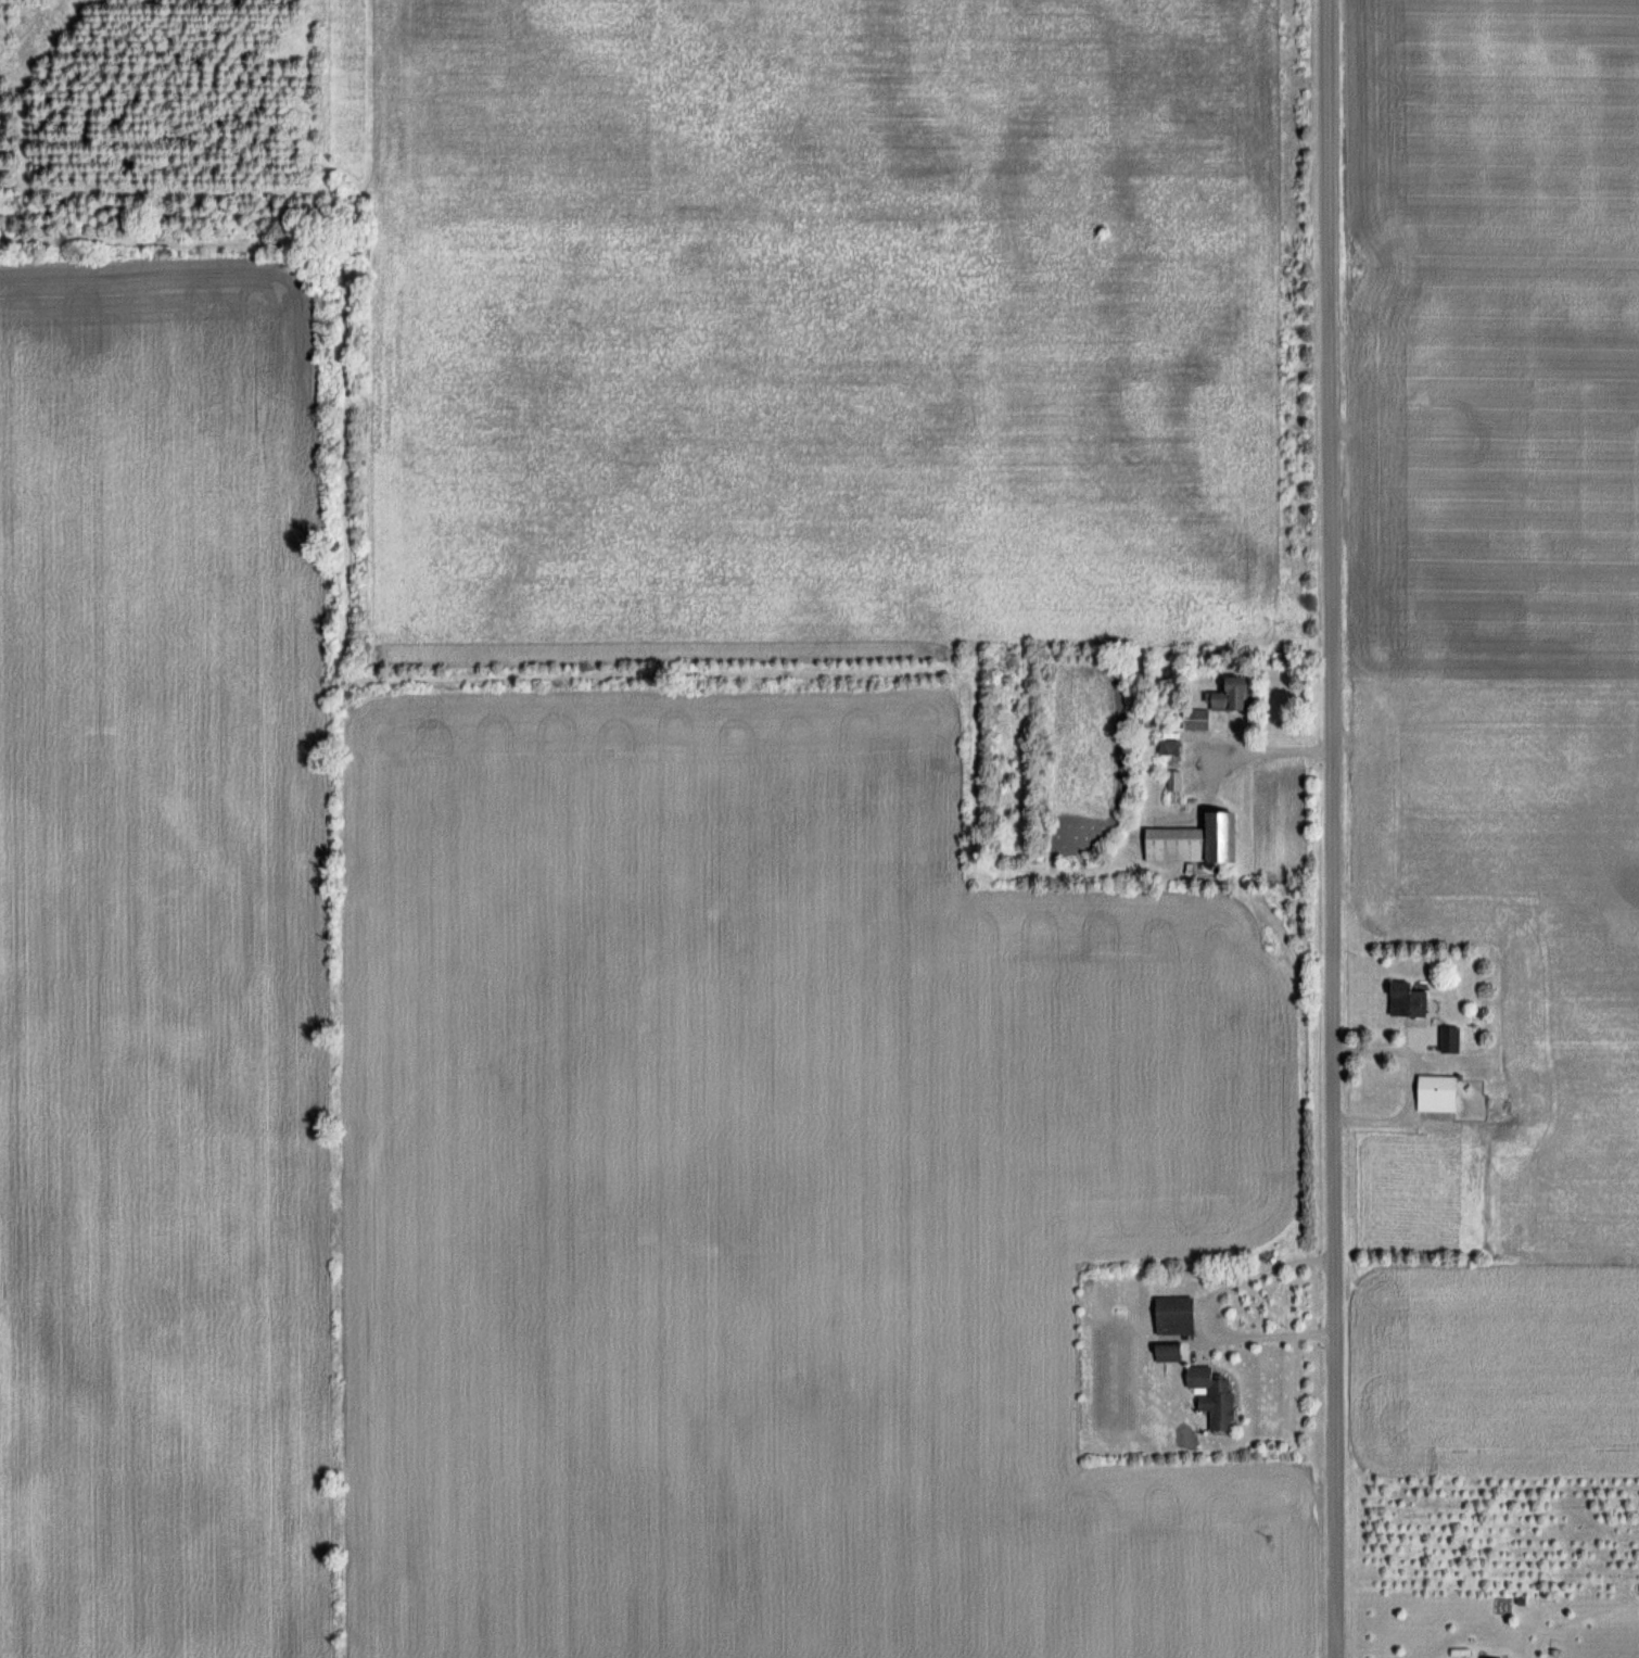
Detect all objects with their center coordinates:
building: (1236, 696)
building: (1197, 719)
building: (1173, 756)
road: (1334, 828)
building: (1197, 841)
building: (1410, 999)
building: (1448, 1039)
road: (1410, 1077)
building: (1439, 1092)
road: (1205, 1309)
building: (1178, 1315)
building: (1171, 1352)
building: (1216, 1396)
building: (1501, 1657)

